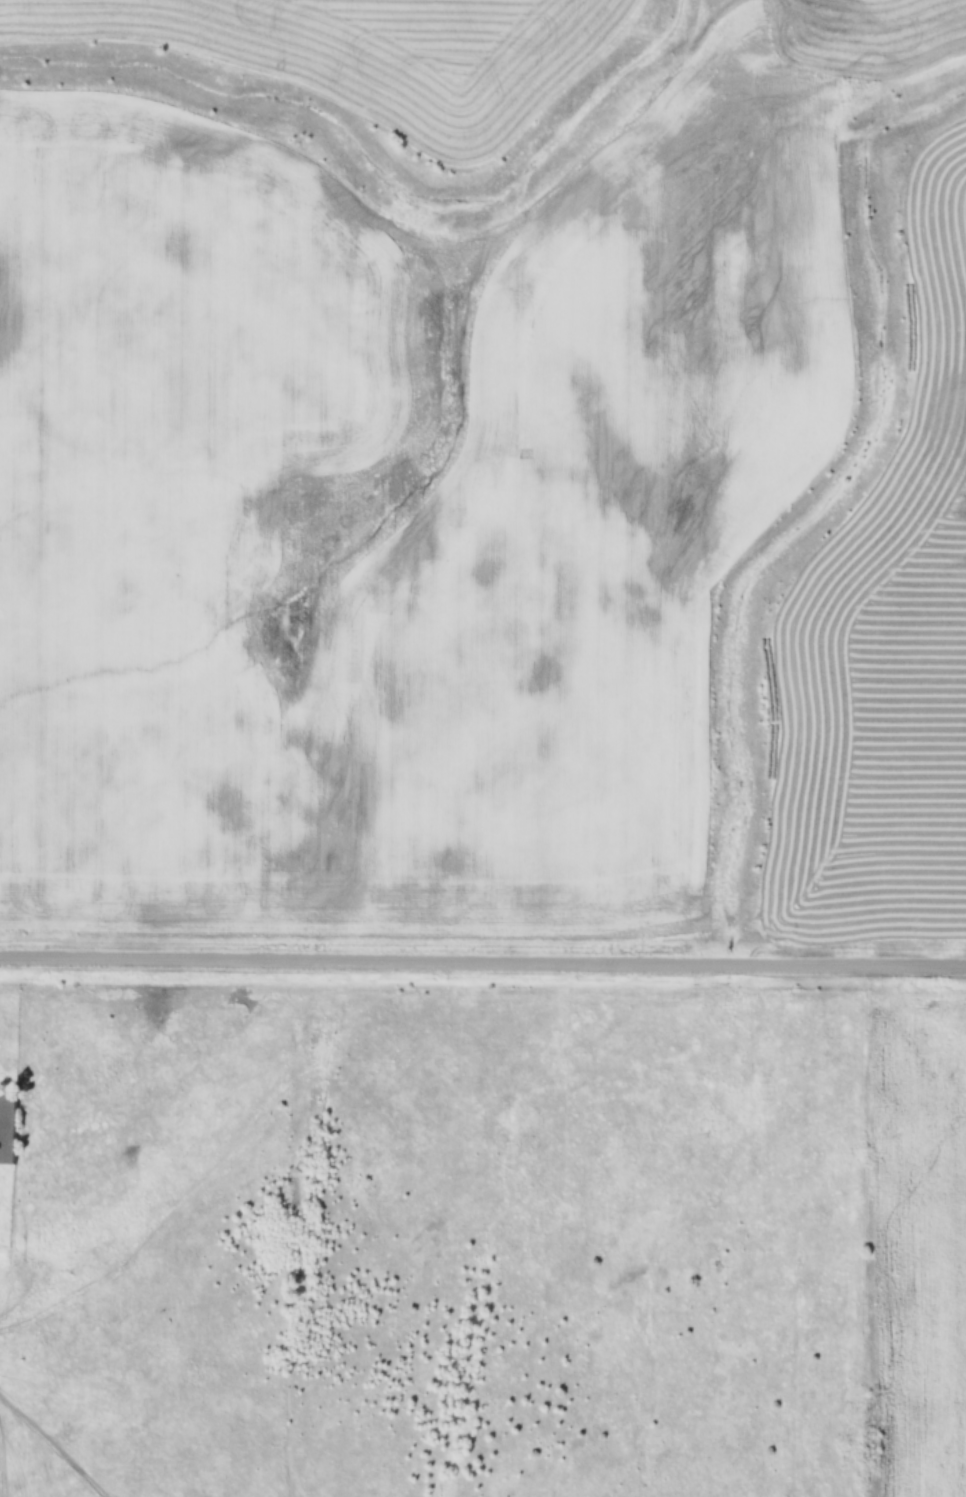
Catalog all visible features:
road: (483, 961)
building: (10, 1130)

